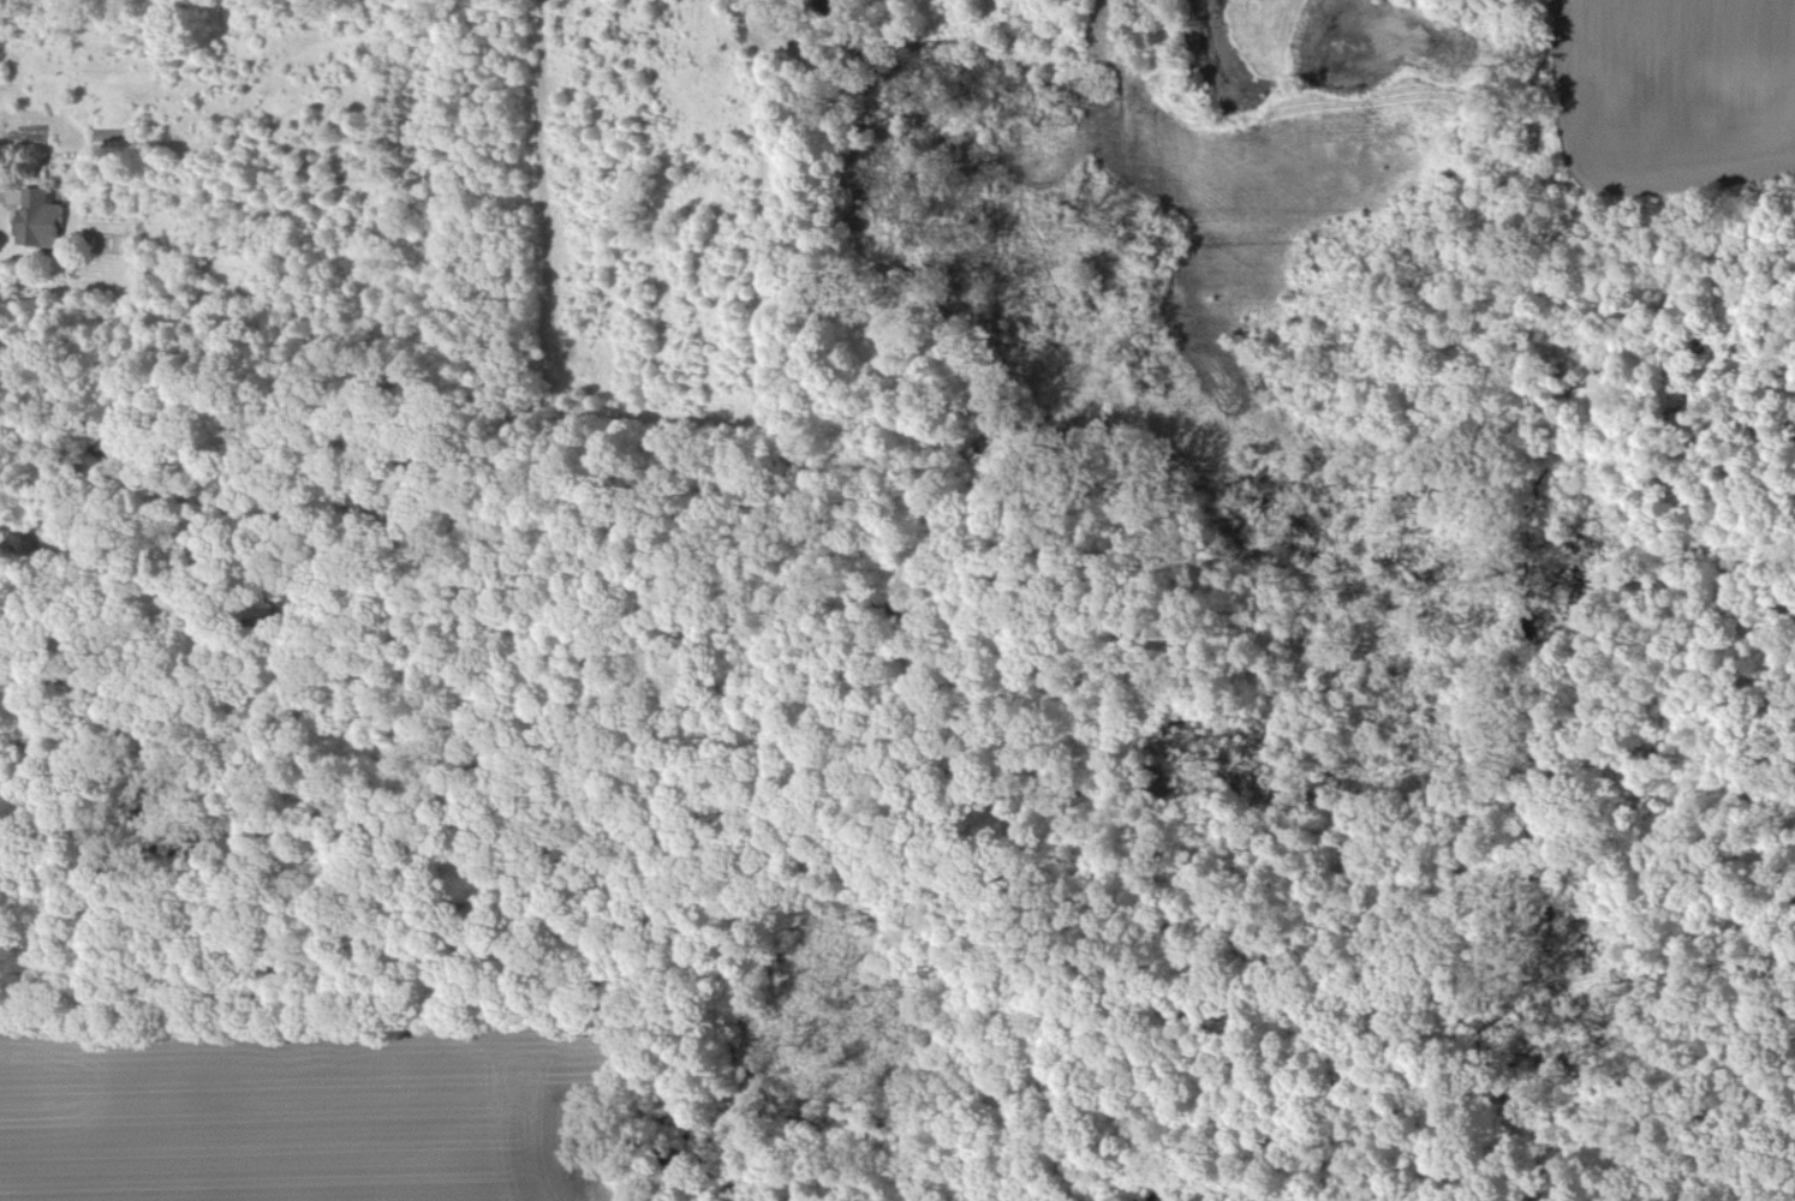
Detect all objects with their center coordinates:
building: (40, 221)

